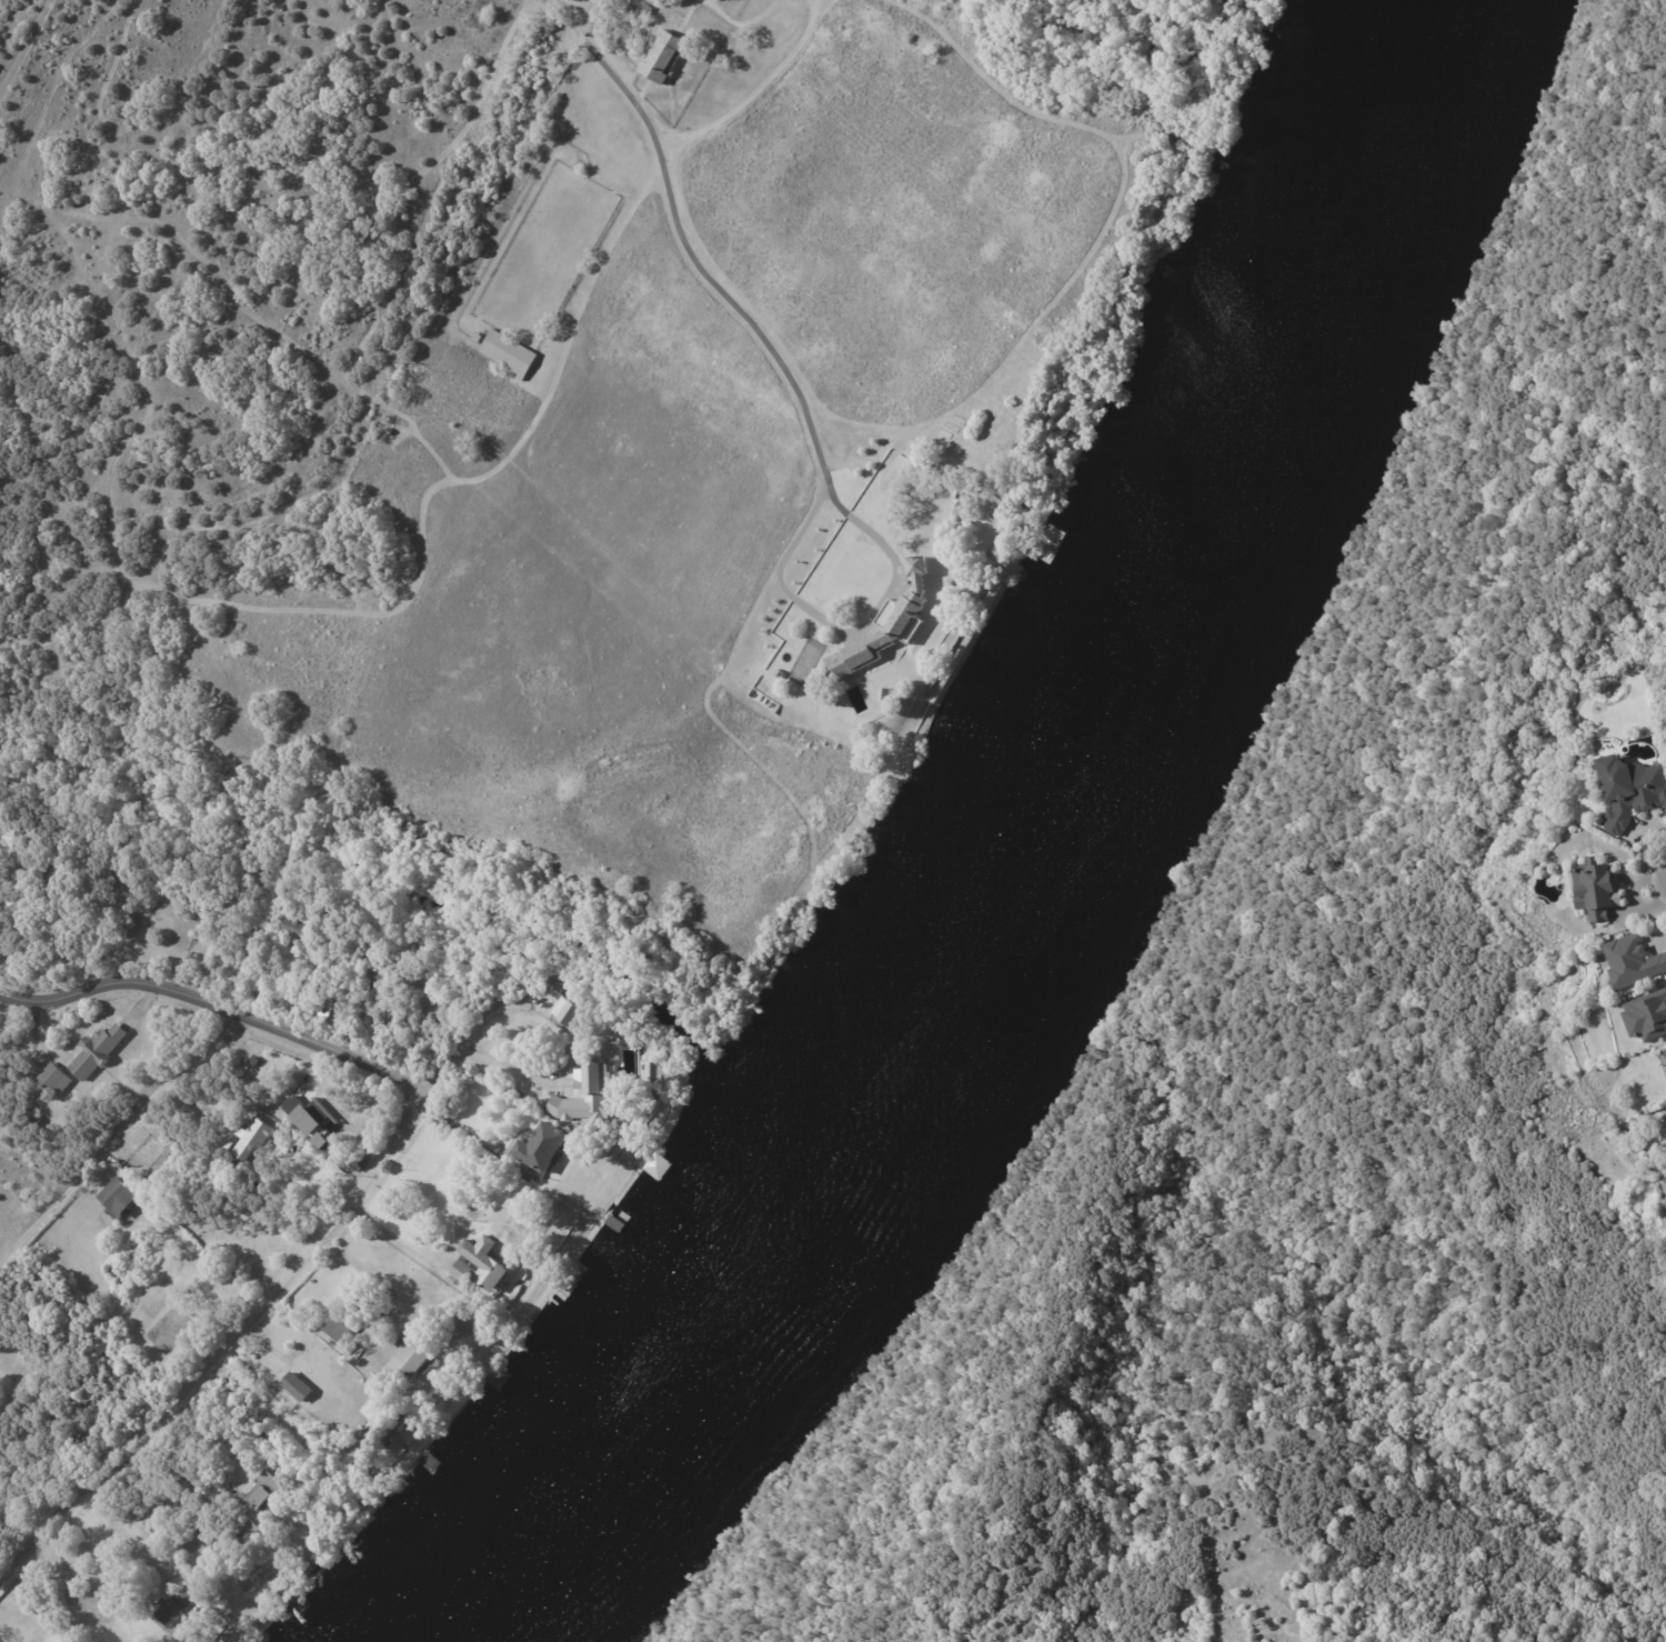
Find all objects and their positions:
building: (629, 9)
road: (24, 46)
building: (662, 57)
building: (360, 227)
road: (681, 237)
building: (325, 259)
building: (334, 280)
building: (475, 337)
building: (509, 353)
building: (390, 431)
building: (962, 507)
building: (902, 624)
building: (816, 652)
building: (779, 674)
building: (1630, 791)
building: (12, 841)
building: (20, 867)
road: (1, 869)
river: (1026, 871)
building: (1599, 892)
building: (22, 894)
building: (293, 931)
building: (4, 957)
building: (1634, 963)
building: (379, 969)
building: (305, 979)
road: (215, 1005)
building: (533, 1007)
building: (324, 1008)
building: (1647, 1018)
building: (97, 1052)
building: (1664, 1058)
road: (490, 1061)
building: (51, 1083)
building: (590, 1087)
building: (1665, 1112)
building: (312, 1121)
road: (112, 1132)
building: (254, 1142)
building: (543, 1145)
building: (165, 1171)
building: (119, 1197)
building: (285, 1199)
building: (480, 1263)
building: (90, 1299)
building: (342, 1322)
road: (225, 1342)
building: (409, 1356)
building: (297, 1386)
building: (379, 1423)
road: (161, 1481)
building: (265, 1489)
building: (240, 1515)
road: (124, 1525)
building: (223, 1541)
building: (173, 1608)
road: (63, 1609)
building: (149, 1636)

